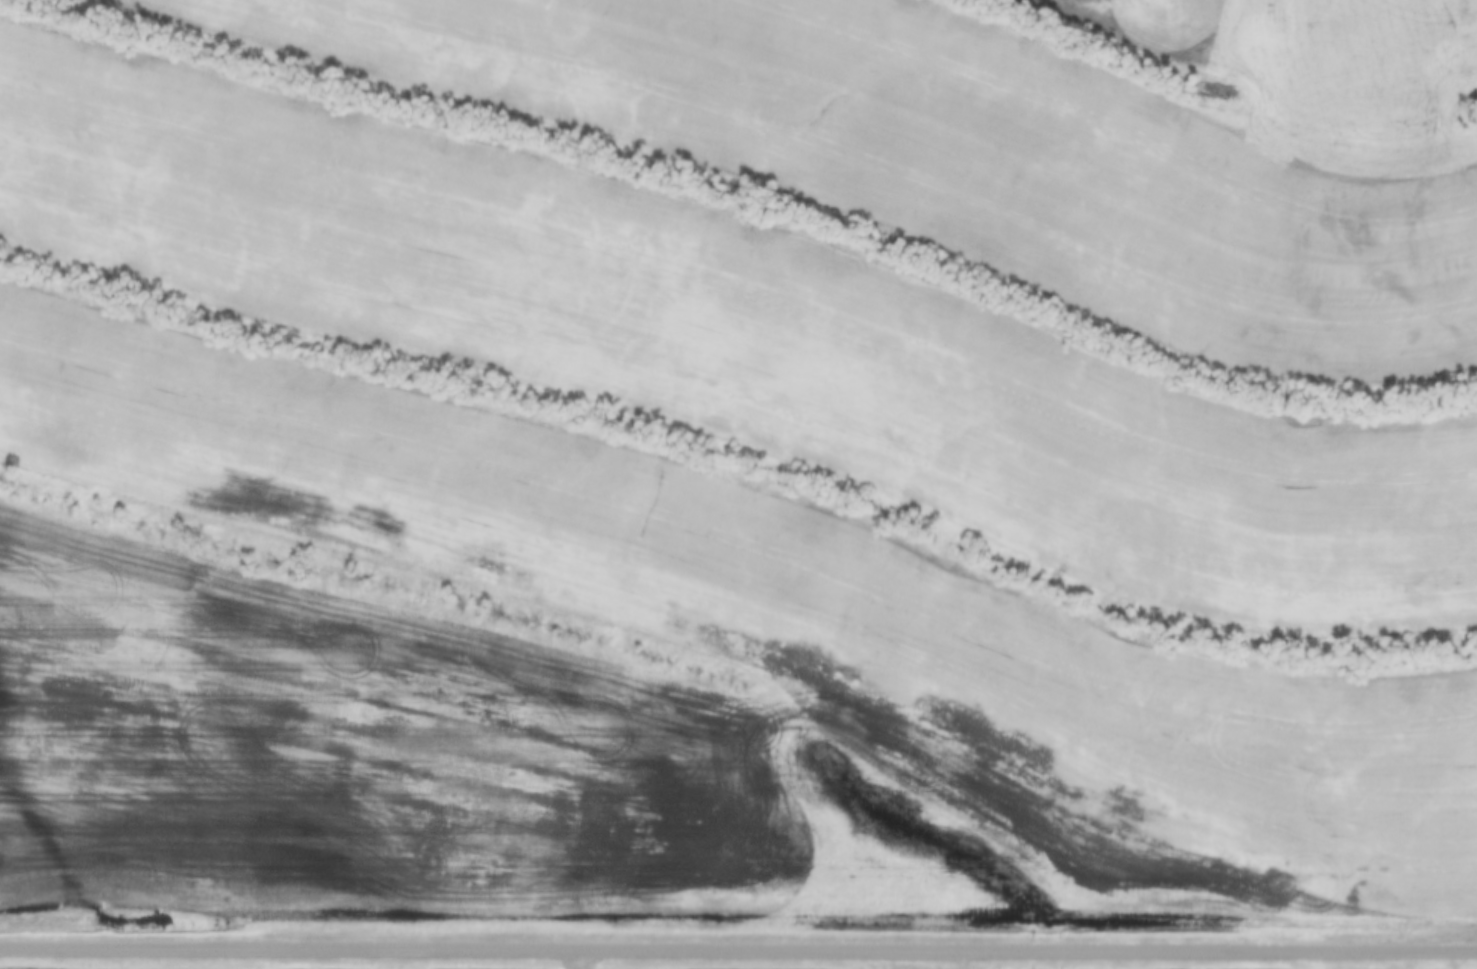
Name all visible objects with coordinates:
road: (738, 940)
road: (588, 954)

